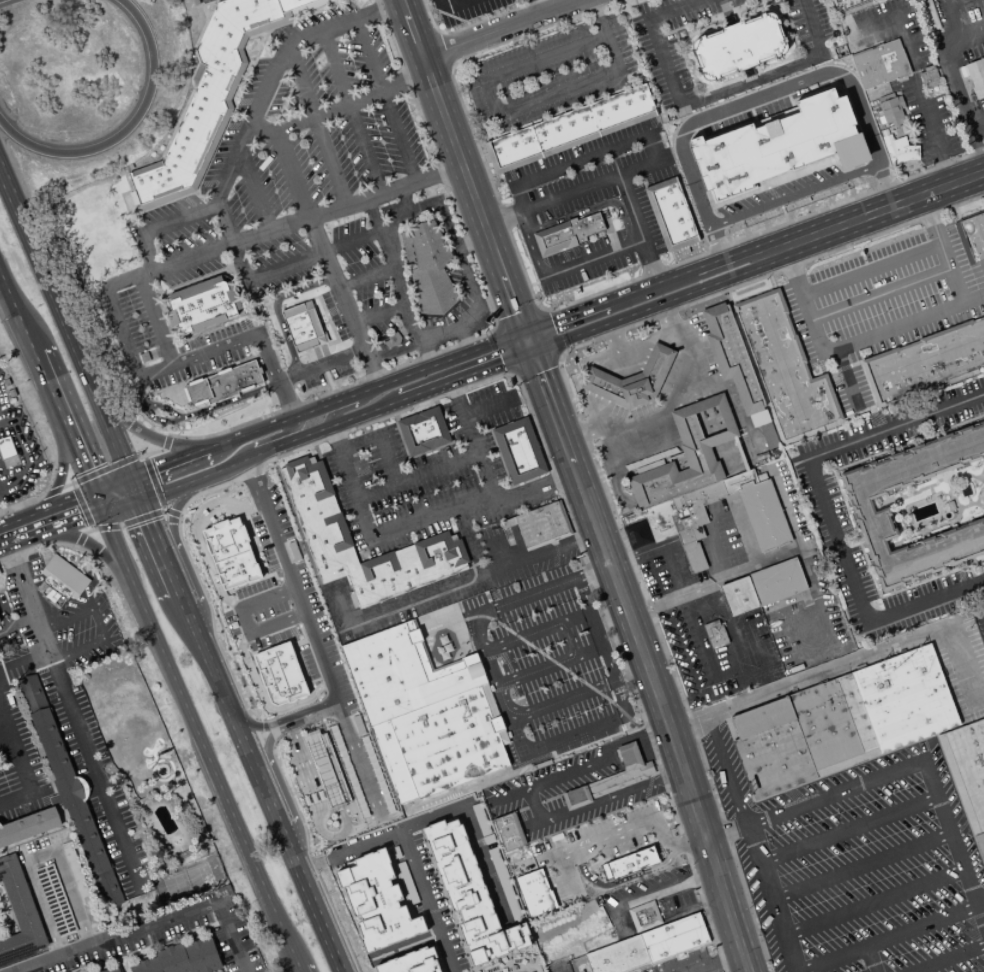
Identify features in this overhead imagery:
road: (834, 0)
road: (449, 5)
road: (358, 7)
road: (533, 7)
road: (598, 16)
building: (930, 16)
road: (471, 24)
road: (270, 26)
road: (498, 28)
road: (438, 34)
building: (741, 46)
road: (441, 50)
building: (841, 51)
building: (875, 59)
road: (449, 65)
road: (251, 66)
building: (971, 74)
road: (951, 76)
building: (930, 80)
road: (265, 86)
building: (210, 96)
road: (228, 96)
road: (709, 96)
road: (919, 98)
road: (384, 99)
road: (757, 99)
road: (231, 106)
road: (338, 107)
building: (889, 109)
road: (350, 111)
road: (497, 113)
road: (315, 124)
road: (126, 128)
building: (571, 129)
road: (976, 145)
building: (779, 146)
building: (896, 148)
road: (583, 161)
road: (461, 165)
road: (291, 173)
road: (642, 178)
road: (885, 184)
road: (253, 189)
road: (194, 190)
road: (576, 190)
road: (794, 196)
road: (205, 198)
road: (403, 199)
parking lot: (314, 204)
road: (129, 208)
building: (672, 214)
road: (868, 214)
road: (658, 220)
road: (162, 226)
road: (629, 228)
road: (637, 228)
building: (570, 232)
building: (971, 237)
road: (470, 239)
road: (529, 244)
road: (718, 245)
road: (941, 248)
road: (574, 256)
road: (672, 257)
road: (292, 263)
road: (395, 267)
building: (429, 267)
road: (154, 268)
road: (870, 269)
road: (679, 273)
road: (366, 276)
road: (467, 278)
road: (535, 282)
road: (771, 282)
road: (338, 287)
road: (296, 289)
road: (880, 294)
road: (493, 300)
road: (12, 301)
building: (203, 305)
road: (557, 307)
road: (12, 308)
road: (644, 308)
road: (540, 311)
road: (377, 313)
road: (666, 313)
road: (564, 316)
road: (155, 319)
road: (328, 319)
road: (519, 321)
road: (325, 322)
road: (493, 325)
road: (496, 327)
building: (299, 328)
road: (63, 330)
traffic signals: (523, 332)
road: (546, 333)
road: (611, 334)
road: (281, 335)
road: (526, 341)
road: (850, 342)
road: (636, 344)
road: (618, 348)
road: (506, 349)
traffic signals: (530, 351)
road: (558, 354)
road: (88, 355)
road: (36, 357)
building: (734, 357)
road: (451, 358)
road: (330, 361)
road: (534, 361)
building: (924, 362)
road: (429, 363)
road: (292, 366)
building: (785, 367)
road: (483, 368)
road: (374, 371)
road: (512, 372)
road: (286, 376)
road: (698, 377)
road: (846, 379)
building: (632, 380)
building: (6, 381)
road: (278, 381)
building: (224, 383)
building: (11, 393)
road: (419, 393)
road: (285, 400)
road: (336, 401)
road: (667, 401)
road: (271, 403)
road: (353, 405)
road: (488, 405)
road: (164, 406)
road: (194, 412)
gas station: (653, 412)
road: (366, 413)
road: (714, 420)
building: (424, 430)
road: (67, 431)
road: (251, 433)
road: (575, 435)
road: (336, 437)
road: (473, 440)
road: (166, 441)
road: (255, 442)
road: (358, 442)
road: (496, 445)
building: (6, 447)
road: (725, 448)
road: (24, 449)
road: (589, 449)
building: (520, 450)
building: (363, 452)
road: (150, 454)
road: (609, 454)
building: (687, 454)
road: (387, 459)
road: (232, 461)
road: (727, 462)
road: (167, 464)
road: (104, 471)
road: (237, 474)
road: (348, 474)
road: (59, 476)
road: (417, 476)
building: (740, 481)
road: (677, 483)
road: (67, 485)
road: (147, 485)
road: (92, 489)
traffic signals: (132, 489)
road: (51, 493)
road: (619, 495)
road: (561, 496)
parking lot: (425, 498)
traffic signals: (97, 501)
building: (273, 501)
road: (21, 504)
building: (858, 504)
road: (216, 505)
road: (81, 506)
road: (452, 507)
road: (826, 509)
road: (65, 512)
road: (169, 515)
road: (700, 515)
building: (764, 515)
building: (690, 516)
building: (633, 518)
road: (740, 519)
building: (662, 520)
road: (126, 522)
building: (507, 522)
building: (542, 525)
road: (705, 528)
road: (88, 531)
building: (325, 531)
road: (691, 533)
building: (280, 536)
road: (79, 539)
road: (469, 540)
road: (671, 541)
building: (226, 544)
road: (156, 545)
road: (36, 546)
road: (714, 550)
road: (635, 554)
building: (694, 556)
building: (286, 560)
road: (270, 567)
road: (672, 569)
road: (178, 570)
road: (592, 571)
road: (117, 575)
road: (244, 577)
road: (471, 577)
building: (63, 578)
building: (776, 581)
road: (712, 583)
building: (298, 584)
road: (221, 593)
road: (583, 593)
building: (740, 595)
road: (524, 596)
road: (138, 597)
road: (25, 599)
road: (340, 604)
road: (0, 606)
building: (304, 609)
road: (454, 610)
road: (467, 611)
road: (2, 614)
road: (4, 615)
building: (456, 617)
road: (469, 617)
road: (458, 621)
road: (973, 621)
road: (97, 622)
road: (15, 624)
building: (263, 624)
road: (535, 630)
road: (730, 630)
building: (316, 632)
road: (432, 634)
building: (716, 634)
road: (441, 638)
road: (756, 640)
road: (703, 641)
road: (483, 650)
road: (803, 650)
road: (464, 651)
parking lot: (543, 651)
road: (21, 657)
building: (322, 658)
road: (641, 660)
road: (843, 664)
road: (549, 665)
building: (403, 673)
road: (629, 675)
road: (614, 680)
building: (283, 691)
road: (316, 693)
building: (31, 694)
building: (903, 699)
road: (562, 700)
building: (345, 710)
road: (508, 718)
building: (833, 725)
road: (574, 734)
building: (452, 741)
building: (773, 748)
road: (288, 751)
building: (360, 760)
road: (599, 761)
building: (394, 762)
road: (20, 764)
building: (328, 768)
building: (966, 769)
road: (892, 770)
road: (95, 777)
road: (124, 778)
building: (612, 778)
road: (259, 787)
road: (506, 795)
road: (610, 796)
building: (361, 802)
road: (533, 804)
building: (76, 807)
building: (322, 821)
road: (531, 825)
building: (29, 827)
road: (848, 829)
road: (238, 831)
building: (509, 831)
road: (665, 840)
road: (594, 841)
road: (687, 843)
building: (979, 846)
road: (40, 857)
building: (628, 862)
road: (861, 865)
park: (187, 880)
road: (619, 880)
road: (686, 882)
building: (80, 885)
building: (534, 893)
building: (469, 894)
building: (55, 900)
building: (376, 902)
road: (873, 902)
road: (431, 903)
building: (19, 913)
building: (645, 916)
road: (153, 923)
road: (641, 928)
road: (201, 932)
road: (783, 935)
building: (674, 938)
road: (149, 951)
building: (202, 956)
building: (618, 956)
road: (947, 958)
building: (173, 959)
road: (870, 959)
road: (712, 961)
building: (410, 962)
road: (99, 965)
road: (563, 965)
building: (146, 966)
building: (112, 970)
road: (298, 970)
building: (162, 971)

